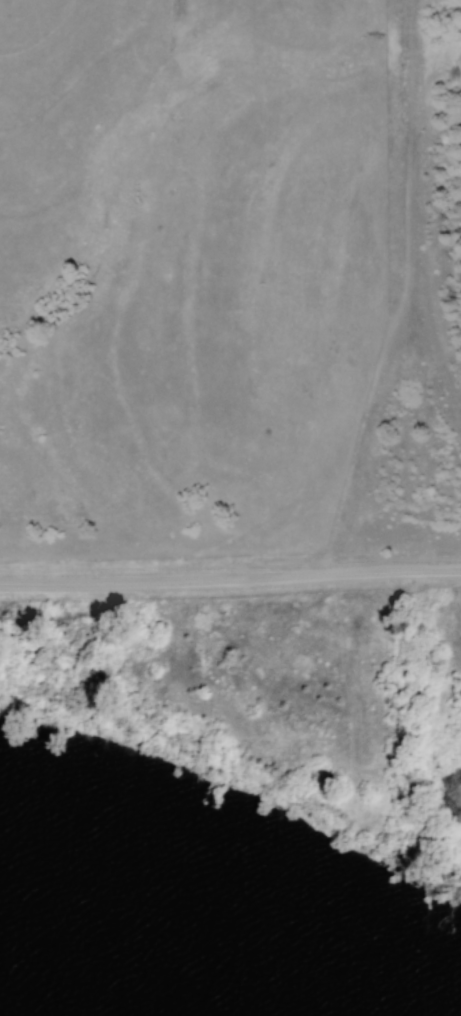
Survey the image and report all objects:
road: (230, 579)
park: (229, 781)

